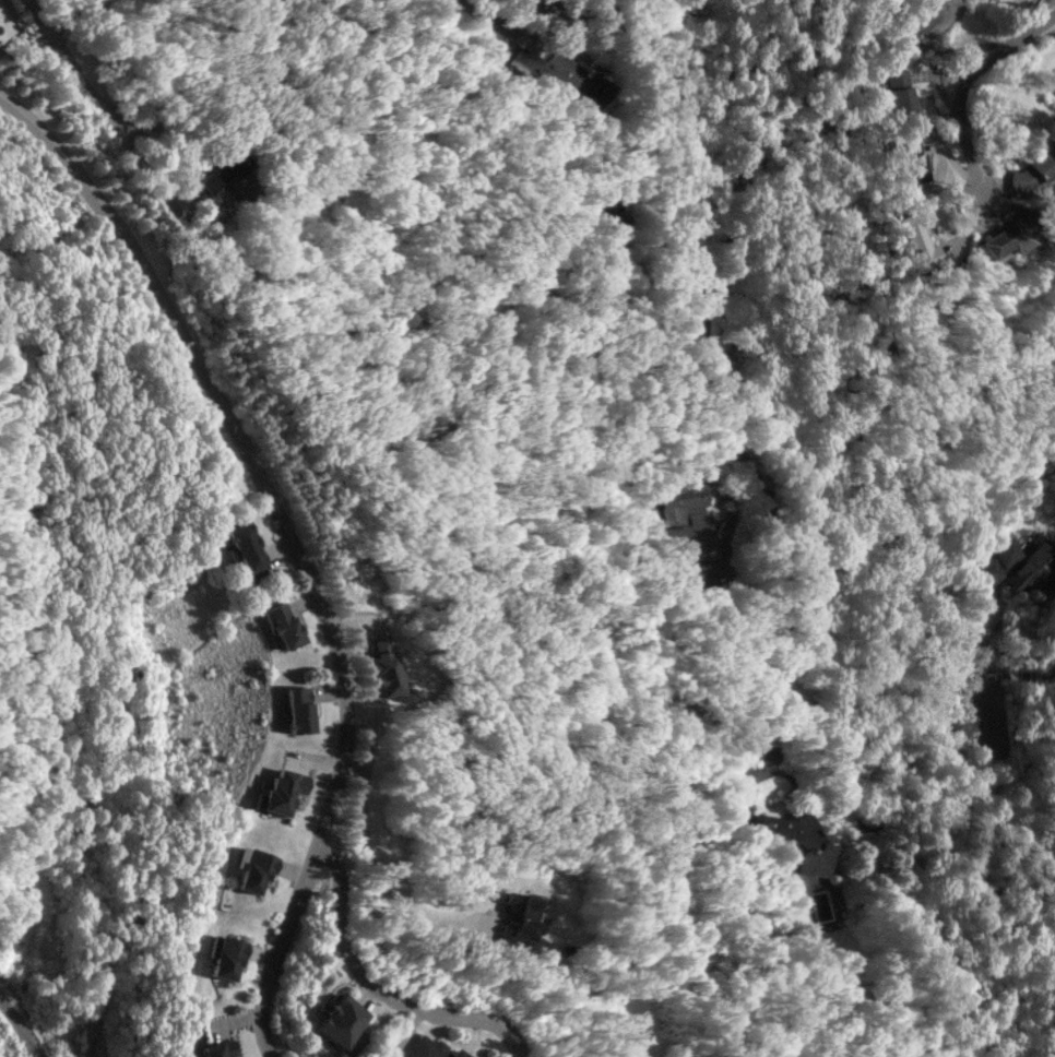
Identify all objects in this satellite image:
building: (918, 19)
building: (546, 66)
road: (75, 69)
road: (961, 80)
building: (590, 87)
building: (899, 92)
road: (674, 119)
building: (911, 161)
building: (1035, 169)
building: (215, 176)
building: (608, 218)
building: (918, 238)
building: (1003, 239)
road: (747, 460)
building: (687, 524)
road: (292, 541)
building: (246, 549)
building: (1017, 565)
building: (283, 626)
building: (384, 665)
road: (764, 700)
building: (298, 709)
building: (281, 791)
road: (965, 791)
building: (813, 855)
building: (254, 869)
road: (369, 876)
building: (521, 917)
building: (226, 957)
road: (377, 988)
building: (341, 1020)
road: (21, 1025)
building: (217, 1048)
building: (431, 1048)

